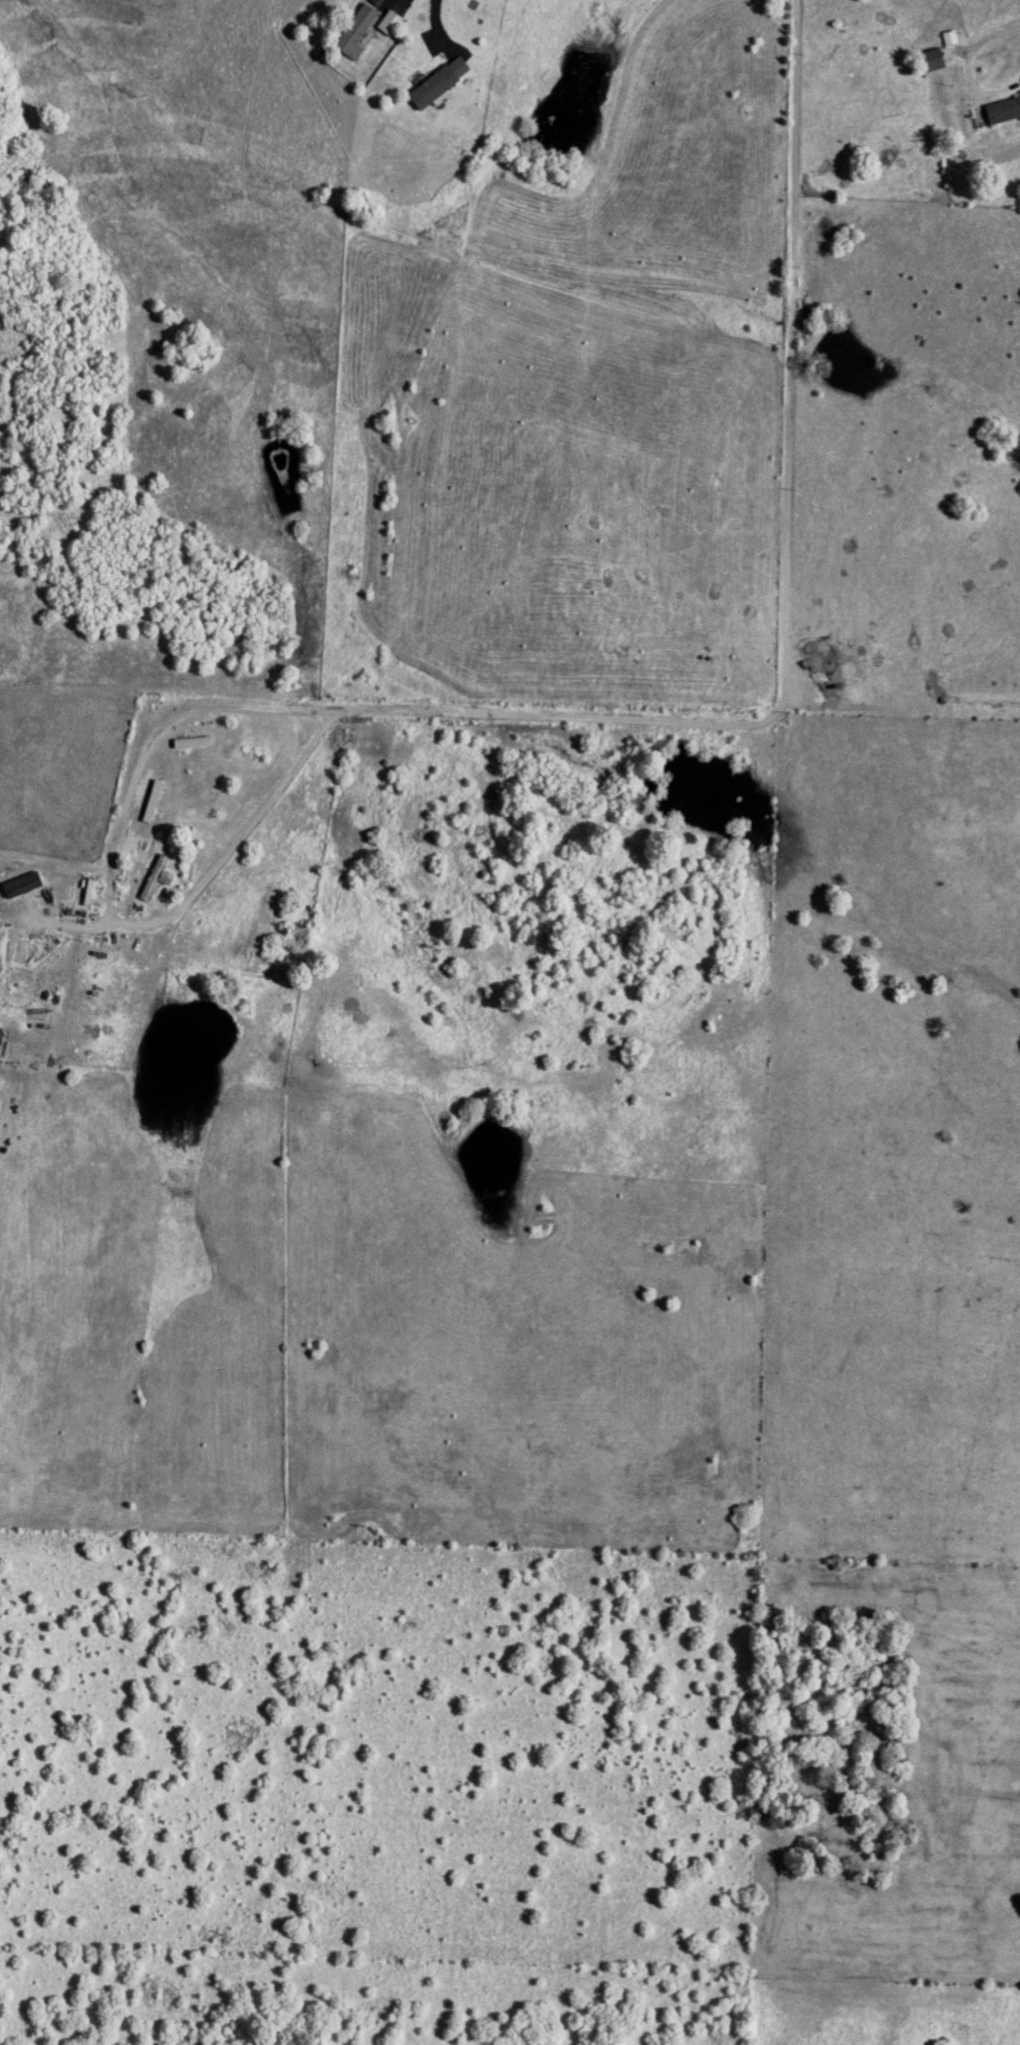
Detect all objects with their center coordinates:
road: (435, 25)
building: (352, 33)
road: (970, 43)
building: (925, 62)
building: (435, 84)
building: (1001, 111)
road: (787, 578)
building: (153, 879)
road: (110, 891)
building: (20, 951)

